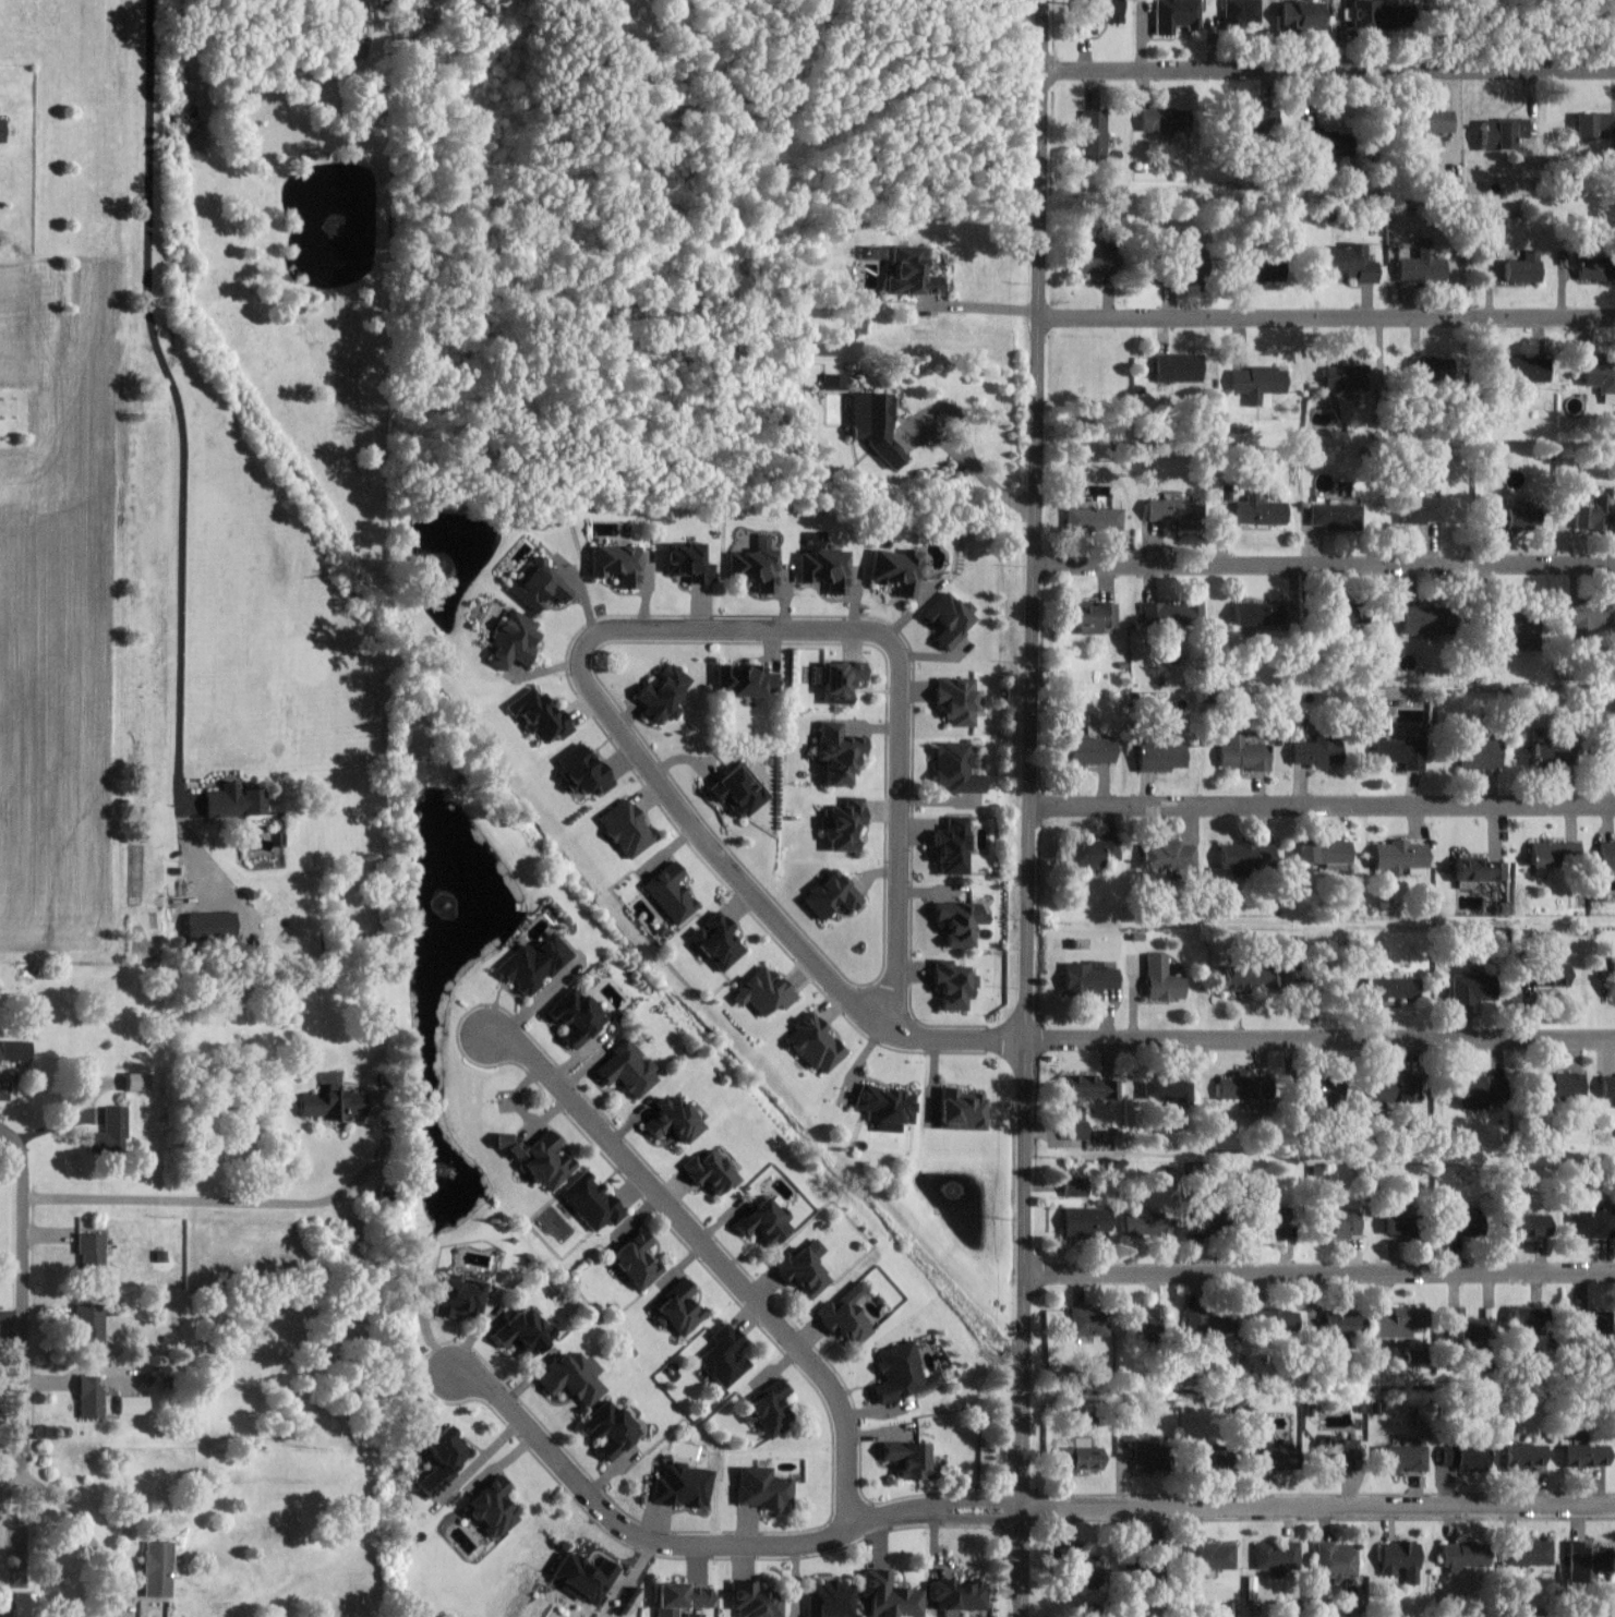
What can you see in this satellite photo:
building: (1371, 13)
building: (1096, 14)
building: (1240, 14)
building: (1174, 15)
building: (1306, 15)
road: (1328, 70)
building: (1164, 119)
building: (1248, 120)
building: (1430, 121)
building: (1593, 125)
building: (2, 130)
building: (1094, 131)
building: (1502, 133)
building: (1325, 142)
building: (316, 154)
building: (1491, 234)
building: (873, 252)
building: (1180, 254)
building: (1090, 261)
building: (1345, 263)
building: (1251, 268)
building: (1420, 268)
building: (1520, 268)
building: (1593, 270)
building: (909, 273)
road: (979, 314)
road: (1327, 316)
building: (1180, 367)
building: (1429, 367)
building: (1521, 370)
building: (1600, 377)
building: (834, 382)
building: (1257, 382)
road: (177, 414)
building: (872, 423)
road: (940, 448)
building: (1170, 510)
building: (1257, 510)
building: (1419, 510)
building: (1333, 516)
building: (1594, 517)
building: (1094, 519)
building: (1506, 519)
road: (1325, 563)
building: (614, 564)
building: (687, 564)
building: (755, 569)
building: (824, 570)
building: (895, 570)
building: (539, 586)
building: (1323, 607)
building: (1172, 613)
building: (1254, 615)
building: (1089, 617)
building: (1589, 618)
building: (949, 620)
building: (1423, 620)
road: (612, 627)
building: (1512, 629)
building: (511, 641)
building: (840, 681)
building: (745, 683)
building: (661, 695)
building: (955, 701)
building: (540, 715)
building: (1085, 750)
building: (835, 752)
building: (1312, 752)
building: (1242, 753)
building: (1397, 753)
building: (1541, 755)
building: (1158, 756)
building: (1475, 756)
building: (1604, 759)
building: (955, 769)
building: (581, 771)
building: (738, 791)
building: (232, 801)
road: (1322, 805)
road: (1028, 808)
building: (842, 824)
building: (626, 829)
building: (950, 848)
building: (1088, 854)
building: (1323, 854)
building: (1553, 854)
building: (1168, 856)
building: (1606, 856)
building: (1242, 857)
building: (1478, 870)
building: (670, 893)
building: (830, 894)
building: (959, 922)
building: (209, 925)
building: (715, 941)
building: (533, 963)
building: (1550, 974)
building: (1248, 977)
building: (1087, 978)
building: (1161, 978)
building: (1608, 982)
building: (953, 985)
building: (1391, 987)
building: (1467, 988)
building: (761, 991)
building: (575, 1016)
road: (1319, 1037)
building: (813, 1043)
building: (627, 1069)
building: (142, 1081)
building: (1565, 1084)
building: (1402, 1085)
building: (1087, 1086)
building: (1606, 1086)
building: (1164, 1087)
building: (1236, 1087)
building: (1471, 1088)
building: (339, 1103)
building: (884, 1107)
building: (960, 1109)
building: (673, 1121)
building: (1074, 1129)
building: (115, 1131)
road: (22, 1157)
building: (537, 1157)
building: (709, 1172)
building: (1074, 1186)
road: (202, 1199)
building: (590, 1200)
building: (1086, 1220)
building: (1273, 1220)
building: (764, 1222)
building: (1337, 1222)
building: (1593, 1223)
building: (1147, 1224)
building: (1401, 1224)
building: (1529, 1226)
building: (96, 1248)
road: (714, 1255)
building: (635, 1259)
building: (805, 1269)
road: (1319, 1270)
building: (679, 1310)
building: (847, 1315)
building: (1527, 1316)
building: (96, 1319)
building: (1279, 1319)
building: (1584, 1319)
building: (1088, 1320)
building: (1205, 1320)
road: (24, 1323)
building: (1342, 1323)
building: (1394, 1323)
building: (1457, 1325)
building: (531, 1328)
building: (722, 1355)
building: (901, 1373)
building: (578, 1377)
building: (96, 1397)
building: (138, 1404)
building: (766, 1410)
building: (618, 1427)
building: (1338, 1452)
building: (1143, 1455)
building: (1202, 1455)
building: (1584, 1455)
building: (1461, 1457)
building: (1522, 1457)
building: (1078, 1458)
building: (1269, 1458)
building: (1400, 1458)
building: (450, 1459)
building: (907, 1460)
road: (16, 1468)
building: (684, 1485)
building: (759, 1488)
road: (1, 1501)
road: (1316, 1504)
building: (498, 1508)
road: (87, 1528)
road: (707, 1542)
building: (1529, 1552)
building: (1208, 1555)
building: (1462, 1555)
building: (1277, 1557)
building: (1337, 1560)
building: (1401, 1560)
building: (1580, 1562)
building: (1080, 1566)
building: (164, 1568)
building: (591, 1571)
building: (956, 1594)
building: (889, 1596)
building: (687, 1597)
building: (829, 1598)
building: (752, 1601)
building: (31, 1604)
building: (699, 1615)

